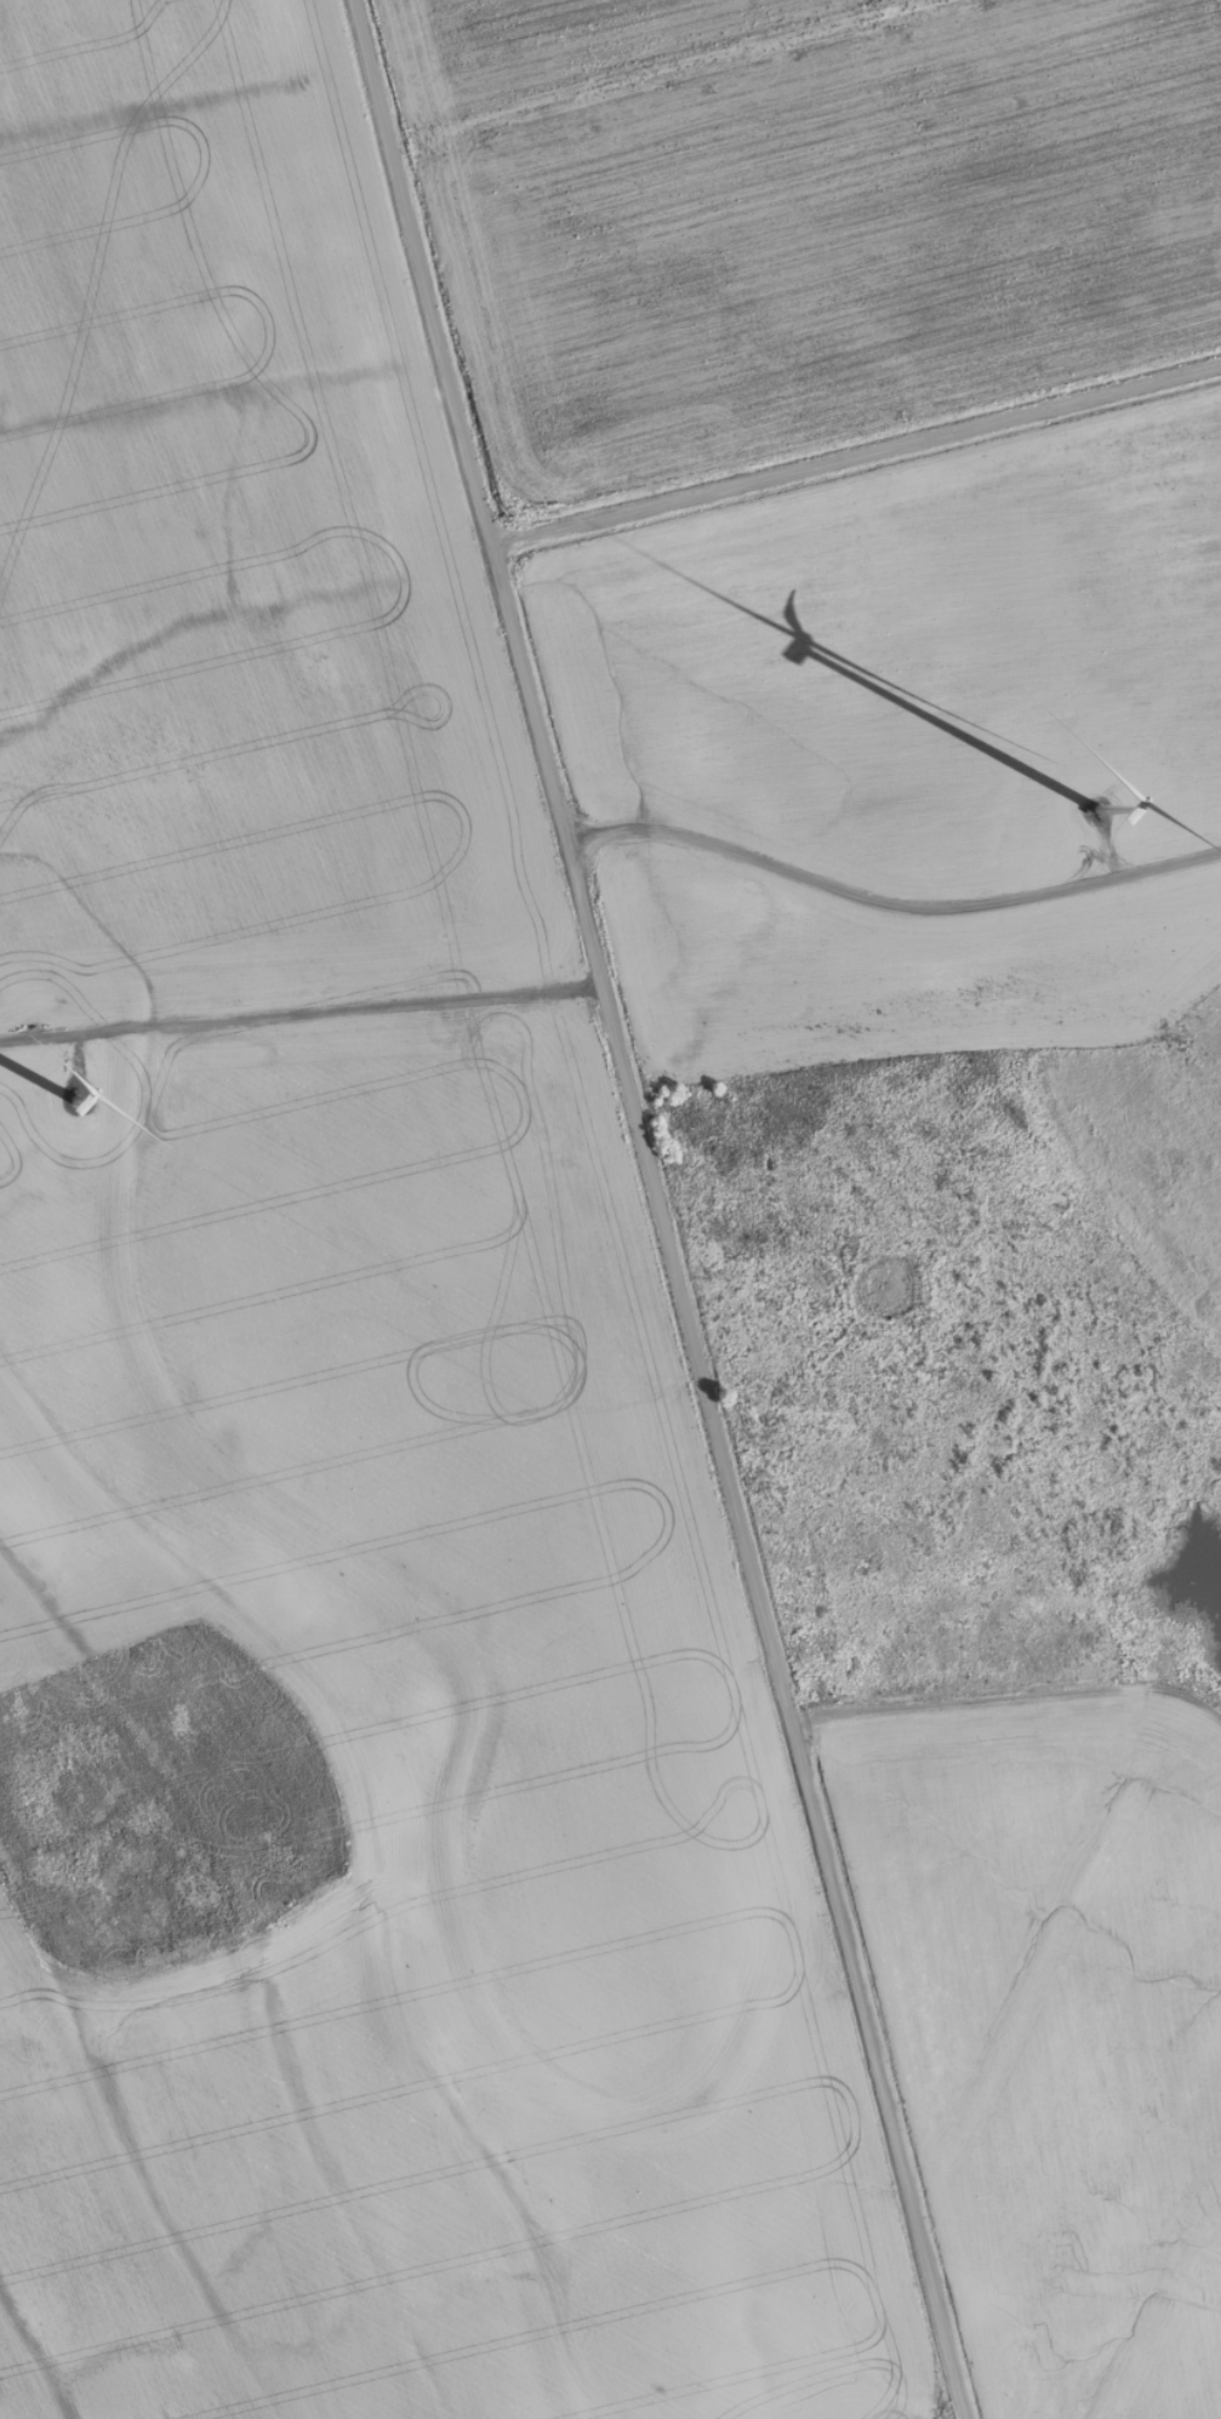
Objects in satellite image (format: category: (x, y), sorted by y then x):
road: (856, 452)
wind turbine: (1096, 812)
wind turbine: (73, 1106)
road: (658, 1209)

